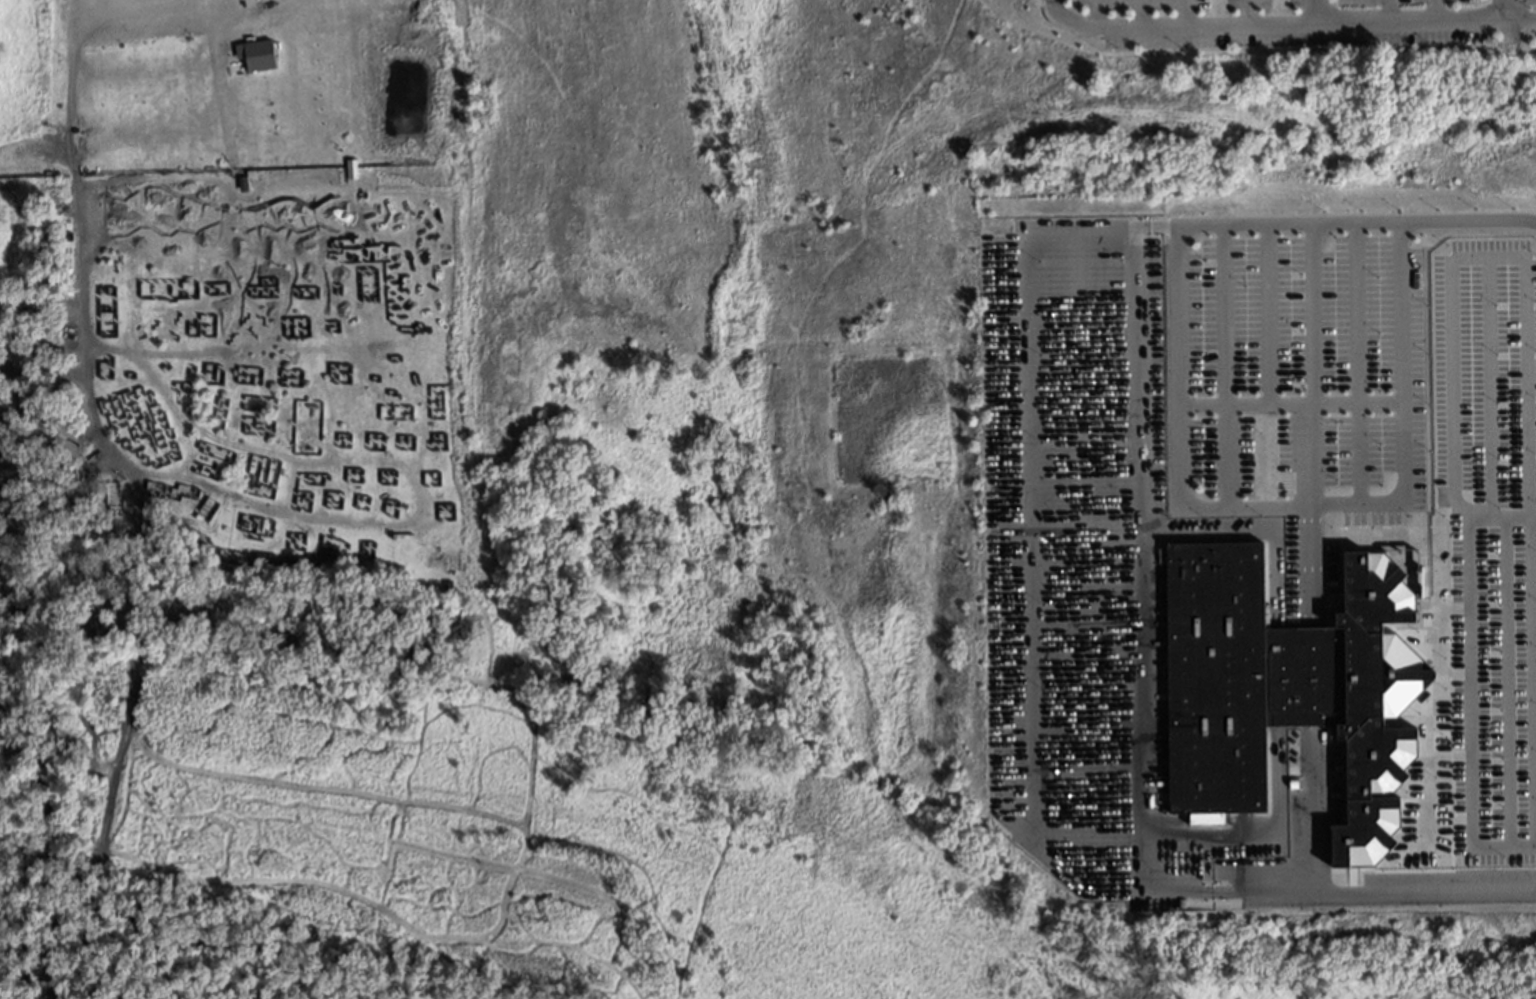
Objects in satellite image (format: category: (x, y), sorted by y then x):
road: (1506, 8)
road: (143, 10)
road: (1242, 12)
road: (1409, 18)
road: (1170, 27)
building: (256, 54)
building: (351, 169)
road: (1175, 304)
road: (1302, 364)
road: (1396, 408)
road: (1139, 559)
road: (1027, 601)
road: (1311, 674)
building: (1284, 686)
road: (1334, 894)
river: (41, 987)

